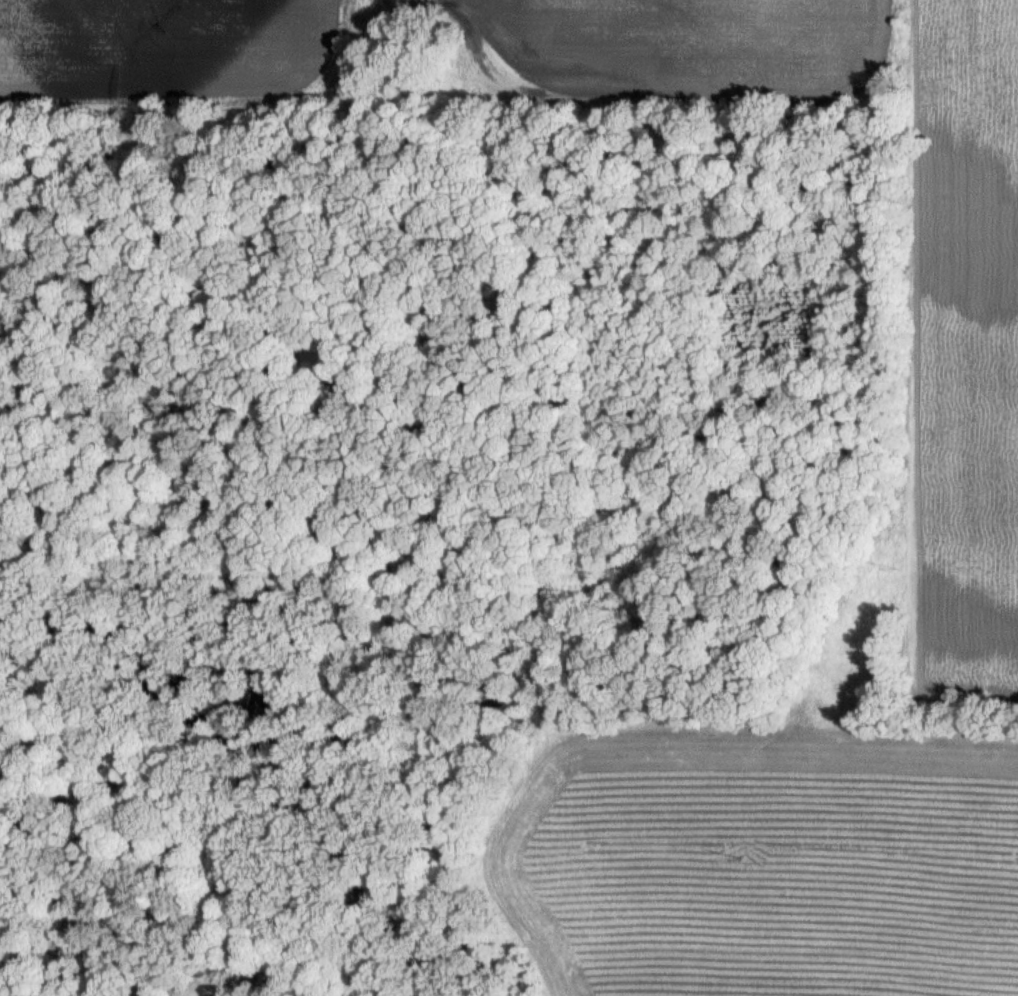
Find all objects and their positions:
power tower: (904, 568)
power tower: (745, 856)

